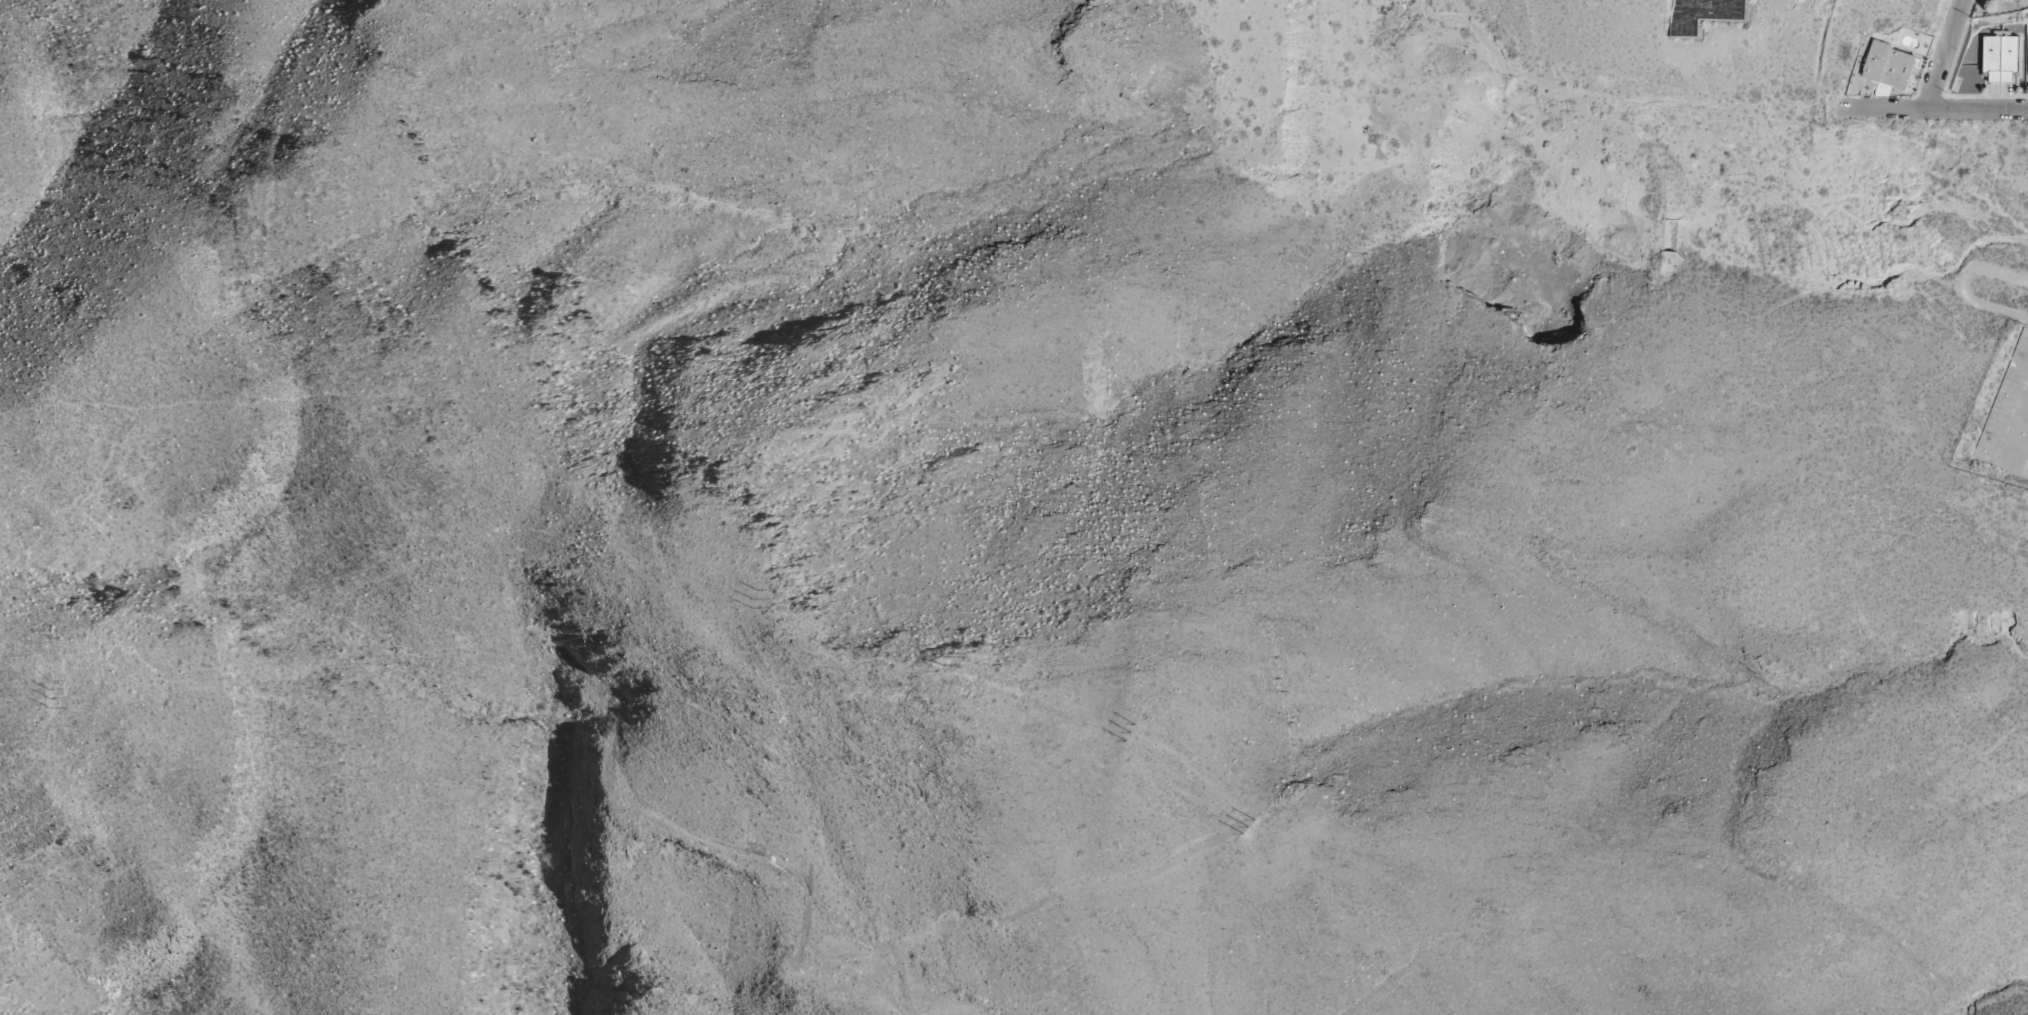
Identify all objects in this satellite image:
road: (1944, 54)
building: (2000, 56)
building: (1888, 66)
road: (1933, 109)
road: (1964, 284)

